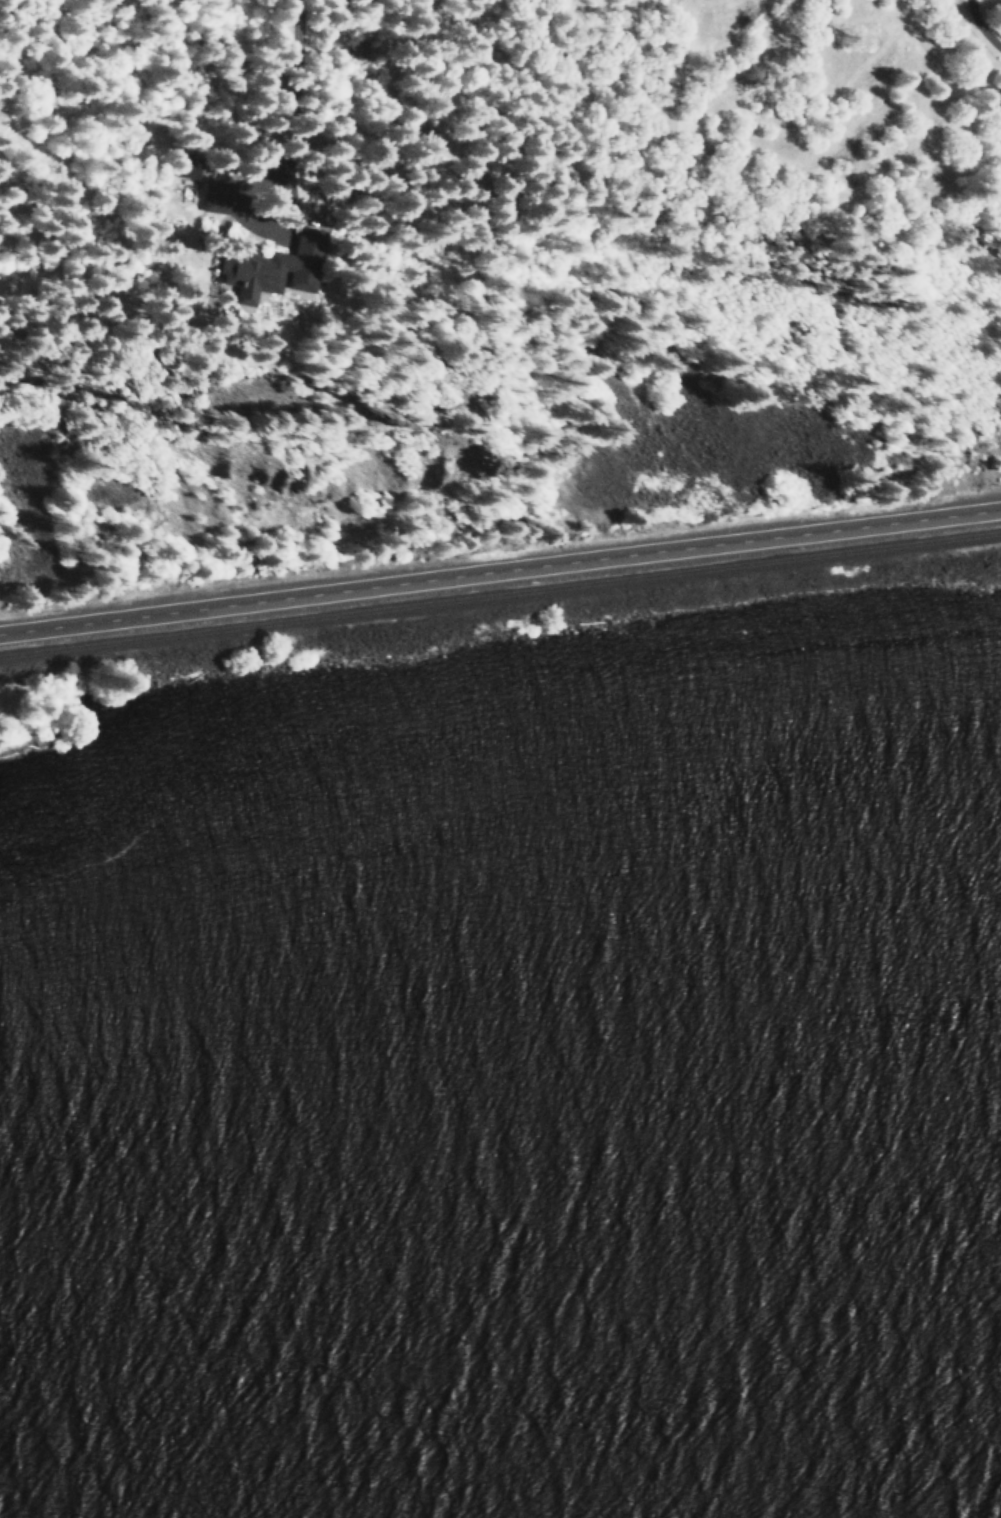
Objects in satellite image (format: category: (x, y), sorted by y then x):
road: (500, 571)
railway: (500, 591)

